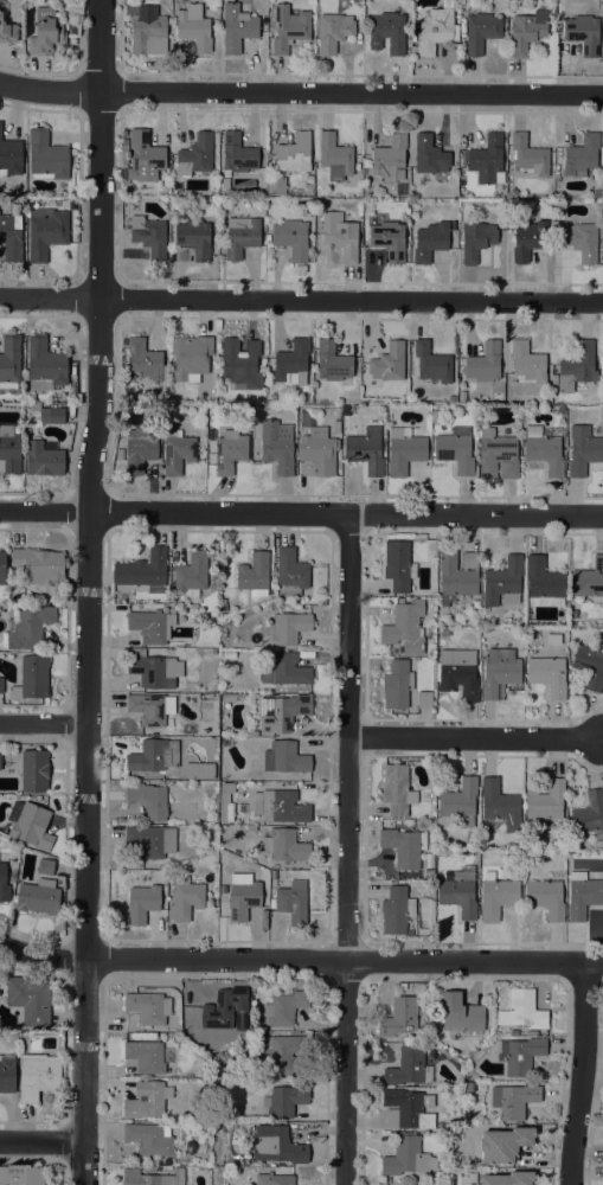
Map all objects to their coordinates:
building: (193, 27)
building: (236, 27)
building: (289, 28)
building: (436, 30)
building: (333, 31)
building: (527, 31)
building: (7, 32)
building: (46, 32)
building: (148, 32)
building: (386, 32)
building: (481, 32)
building: (583, 33)
road: (301, 92)
building: (237, 153)
building: (294, 153)
building: (11, 155)
building: (195, 155)
building: (429, 155)
building: (580, 155)
building: (46, 156)
building: (141, 156)
building: (528, 156)
building: (334, 158)
building: (389, 159)
building: (487, 160)
building: (309, 179)
building: (276, 185)
building: (168, 186)
building: (511, 193)
building: (596, 193)
building: (45, 232)
building: (11, 235)
building: (148, 236)
building: (240, 236)
building: (340, 236)
building: (194, 237)
building: (291, 239)
building: (389, 239)
building: (476, 239)
building: (528, 241)
building: (580, 241)
building: (430, 242)
building: (182, 254)
road: (50, 297)
road: (351, 300)
building: (190, 355)
building: (143, 359)
building: (9, 361)
building: (332, 361)
building: (291, 363)
building: (389, 363)
building: (483, 363)
building: (527, 363)
building: (240, 364)
building: (432, 364)
building: (44, 366)
building: (576, 367)
building: (451, 398)
building: (258, 408)
building: (345, 411)
building: (46, 412)
building: (435, 417)
building: (336, 427)
building: (277, 447)
building: (137, 449)
building: (455, 449)
building: (9, 450)
building: (404, 450)
building: (583, 450)
building: (177, 451)
building: (230, 451)
building: (543, 451)
building: (365, 453)
building: (118, 454)
building: (496, 455)
building: (316, 456)
building: (44, 457)
road: (301, 512)
building: (38, 565)
building: (399, 566)
building: (1, 568)
building: (143, 570)
building: (291, 572)
building: (191, 575)
building: (254, 575)
building: (214, 576)
building: (457, 576)
building: (544, 579)
building: (589, 581)
building: (503, 582)
road: (86, 591)
building: (126, 596)
building: (19, 597)
building: (476, 604)
building: (223, 607)
building: (575, 614)
building: (572, 623)
building: (152, 626)
building: (31, 628)
building: (287, 628)
building: (405, 628)
building: (590, 665)
building: (150, 670)
building: (286, 671)
building: (499, 672)
building: (458, 673)
building: (547, 675)
building: (32, 678)
building: (396, 685)
building: (1, 686)
building: (229, 698)
building: (424, 700)
building: (149, 709)
building: (281, 712)
road: (43, 723)
building: (251, 734)
road: (475, 737)
building: (154, 755)
building: (284, 757)
building: (199, 770)
building: (32, 771)
building: (168, 777)
building: (397, 789)
building: (148, 800)
building: (458, 801)
building: (545, 801)
building: (226, 803)
building: (280, 806)
building: (499, 807)
building: (590, 815)
building: (30, 824)
building: (152, 841)
building: (284, 845)
building: (404, 846)
road: (346, 848)
building: (45, 866)
building: (272, 875)
building: (4, 884)
building: (458, 892)
building: (582, 895)
building: (496, 896)
building: (38, 897)
building: (545, 898)
building: (185, 899)
building: (243, 899)
building: (293, 902)
building: (142, 903)
building: (396, 911)
road: (300, 960)
building: (30, 1000)
building: (284, 1007)
building: (148, 1008)
building: (190, 1011)
building: (521, 1011)
building: (225, 1012)
building: (462, 1013)
building: (399, 1017)
building: (190, 1019)
building: (513, 1032)
building: (531, 1033)
building: (283, 1053)
building: (519, 1055)
building: (145, 1056)
building: (408, 1068)
building: (7, 1072)
road: (580, 1074)
building: (38, 1076)
building: (147, 1100)
building: (513, 1100)
building: (284, 1101)
building: (406, 1109)
building: (438, 1126)
building: (150, 1139)
road: (41, 1141)
building: (277, 1145)
building: (503, 1145)
building: (408, 1157)
building: (167, 1161)
building: (148, 1170)
building: (21, 1176)
building: (152, 1178)
building: (507, 1178)
building: (272, 1179)

